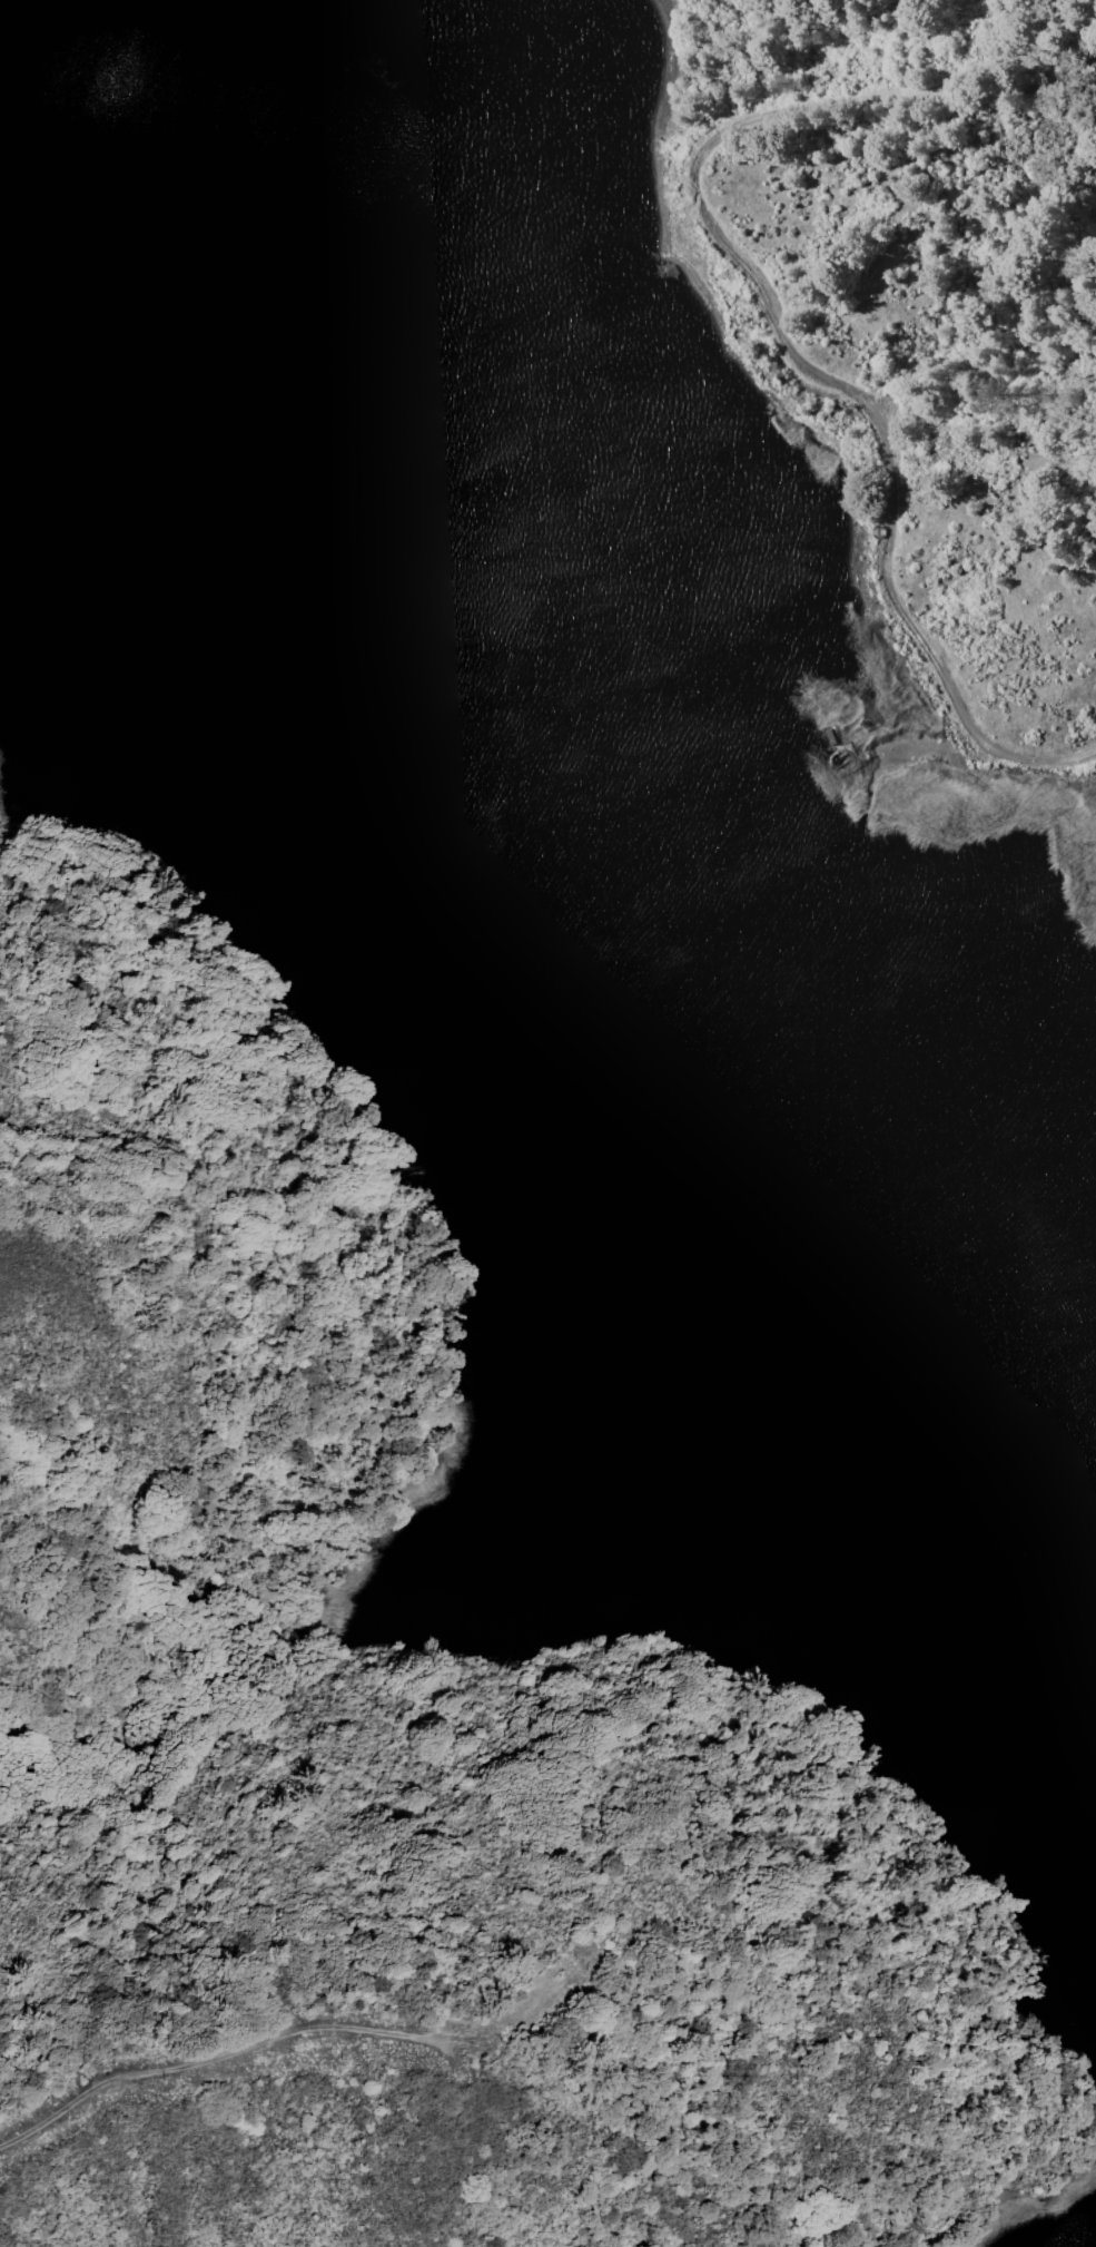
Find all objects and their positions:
road: (789, 327)
road: (295, 2029)

